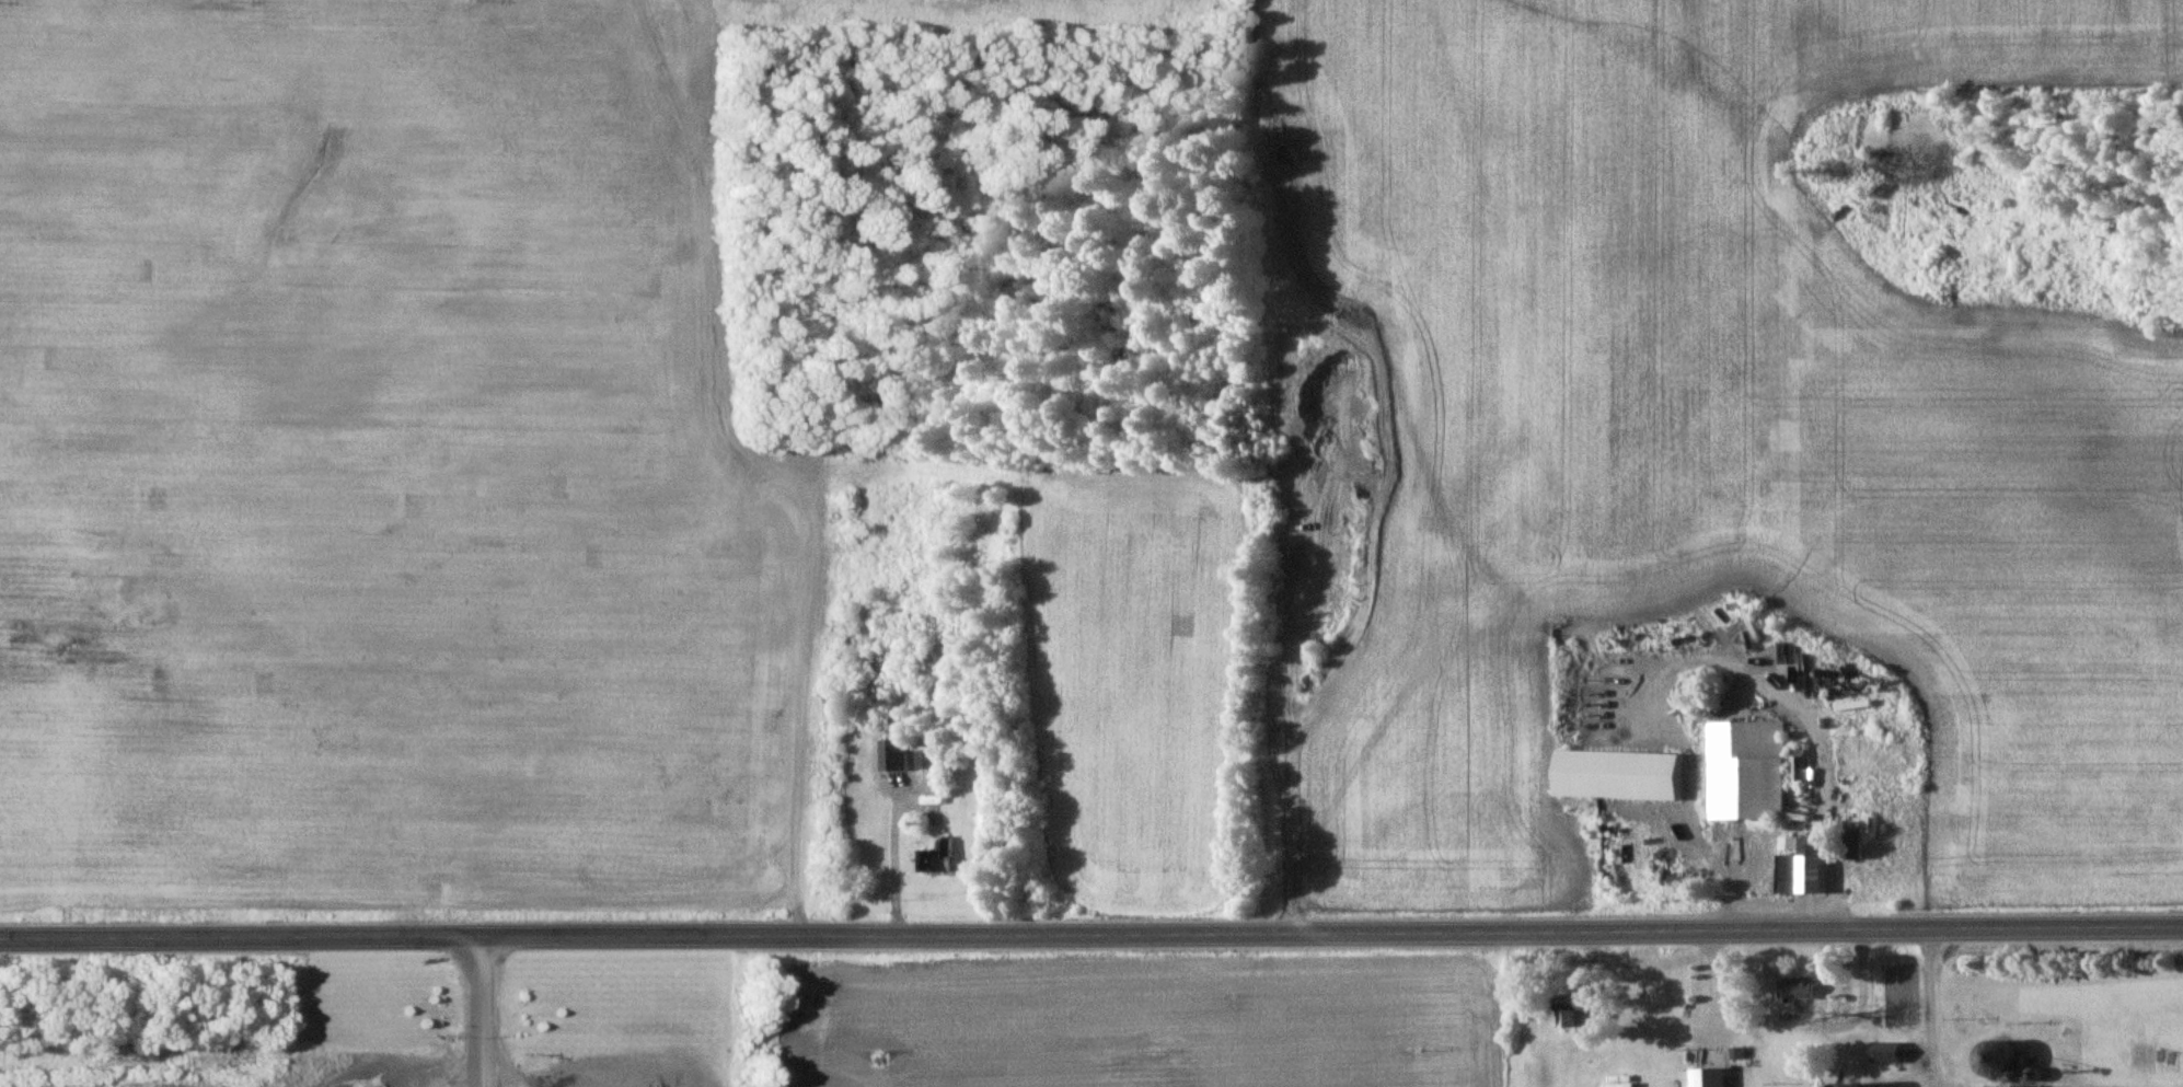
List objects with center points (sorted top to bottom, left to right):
building: (893, 753)
building: (928, 758)
building: (1797, 767)
building: (1747, 768)
building: (1622, 774)
building: (1861, 828)
building: (1789, 842)
building: (937, 856)
road: (894, 858)
building: (1805, 867)
road: (1091, 934)
building: (1799, 986)
road: (1931, 1009)
road: (471, 1013)
building: (1890, 1051)
building: (2007, 1057)
building: (1711, 1077)
road: (1934, 1084)

